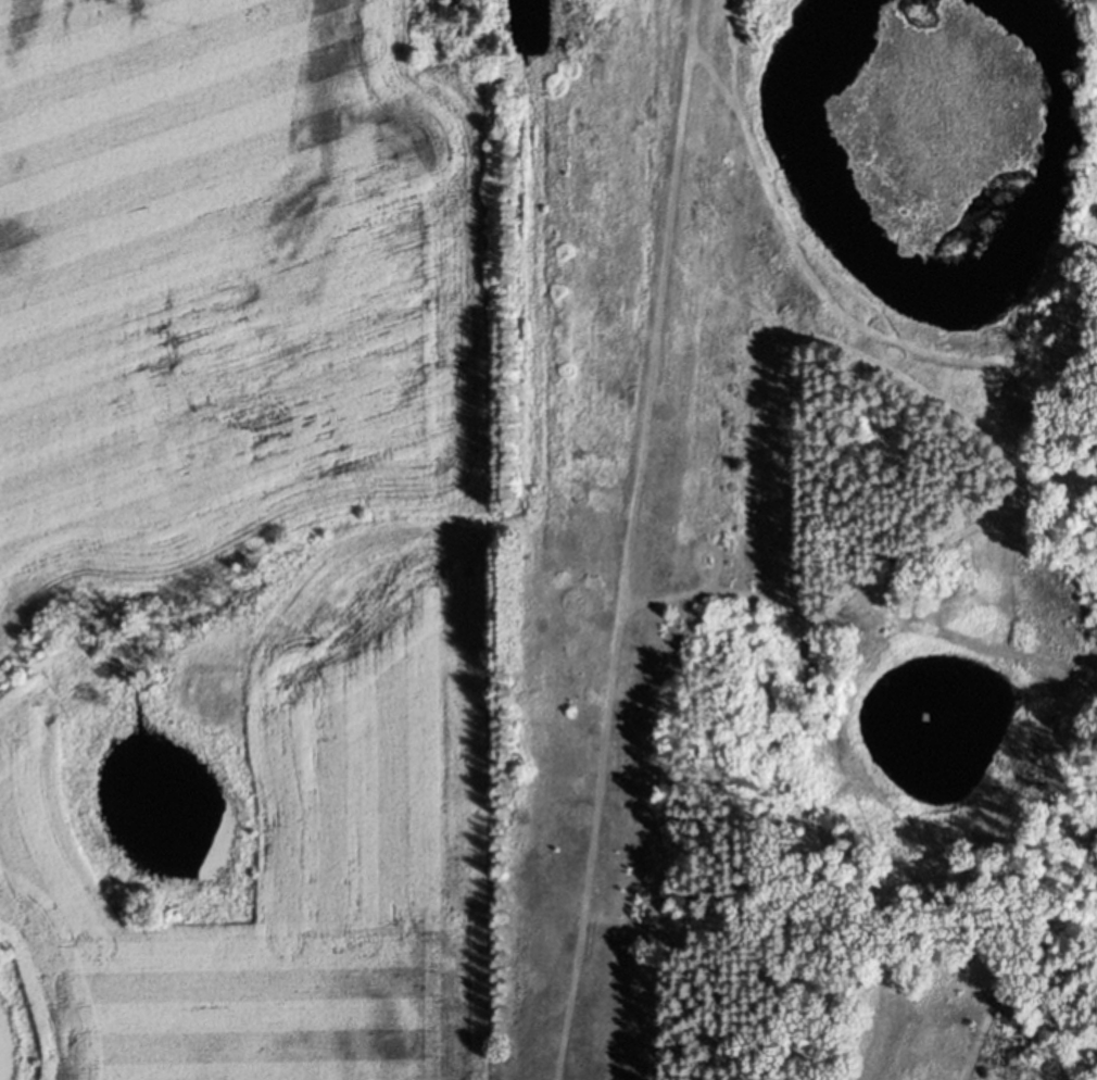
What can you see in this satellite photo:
road: (432, 229)
road: (14, 453)
airport: (620, 491)
airport runway: (627, 540)

